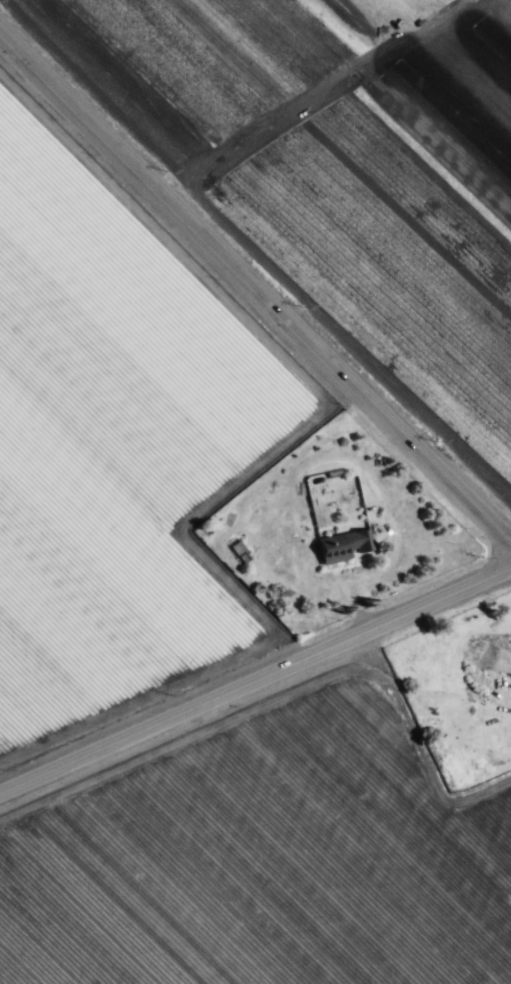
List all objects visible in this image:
crop: (341, 176)
road: (256, 283)
building: (339, 547)
building: (236, 548)
crop: (187, 648)
road: (255, 687)
building: (485, 688)

